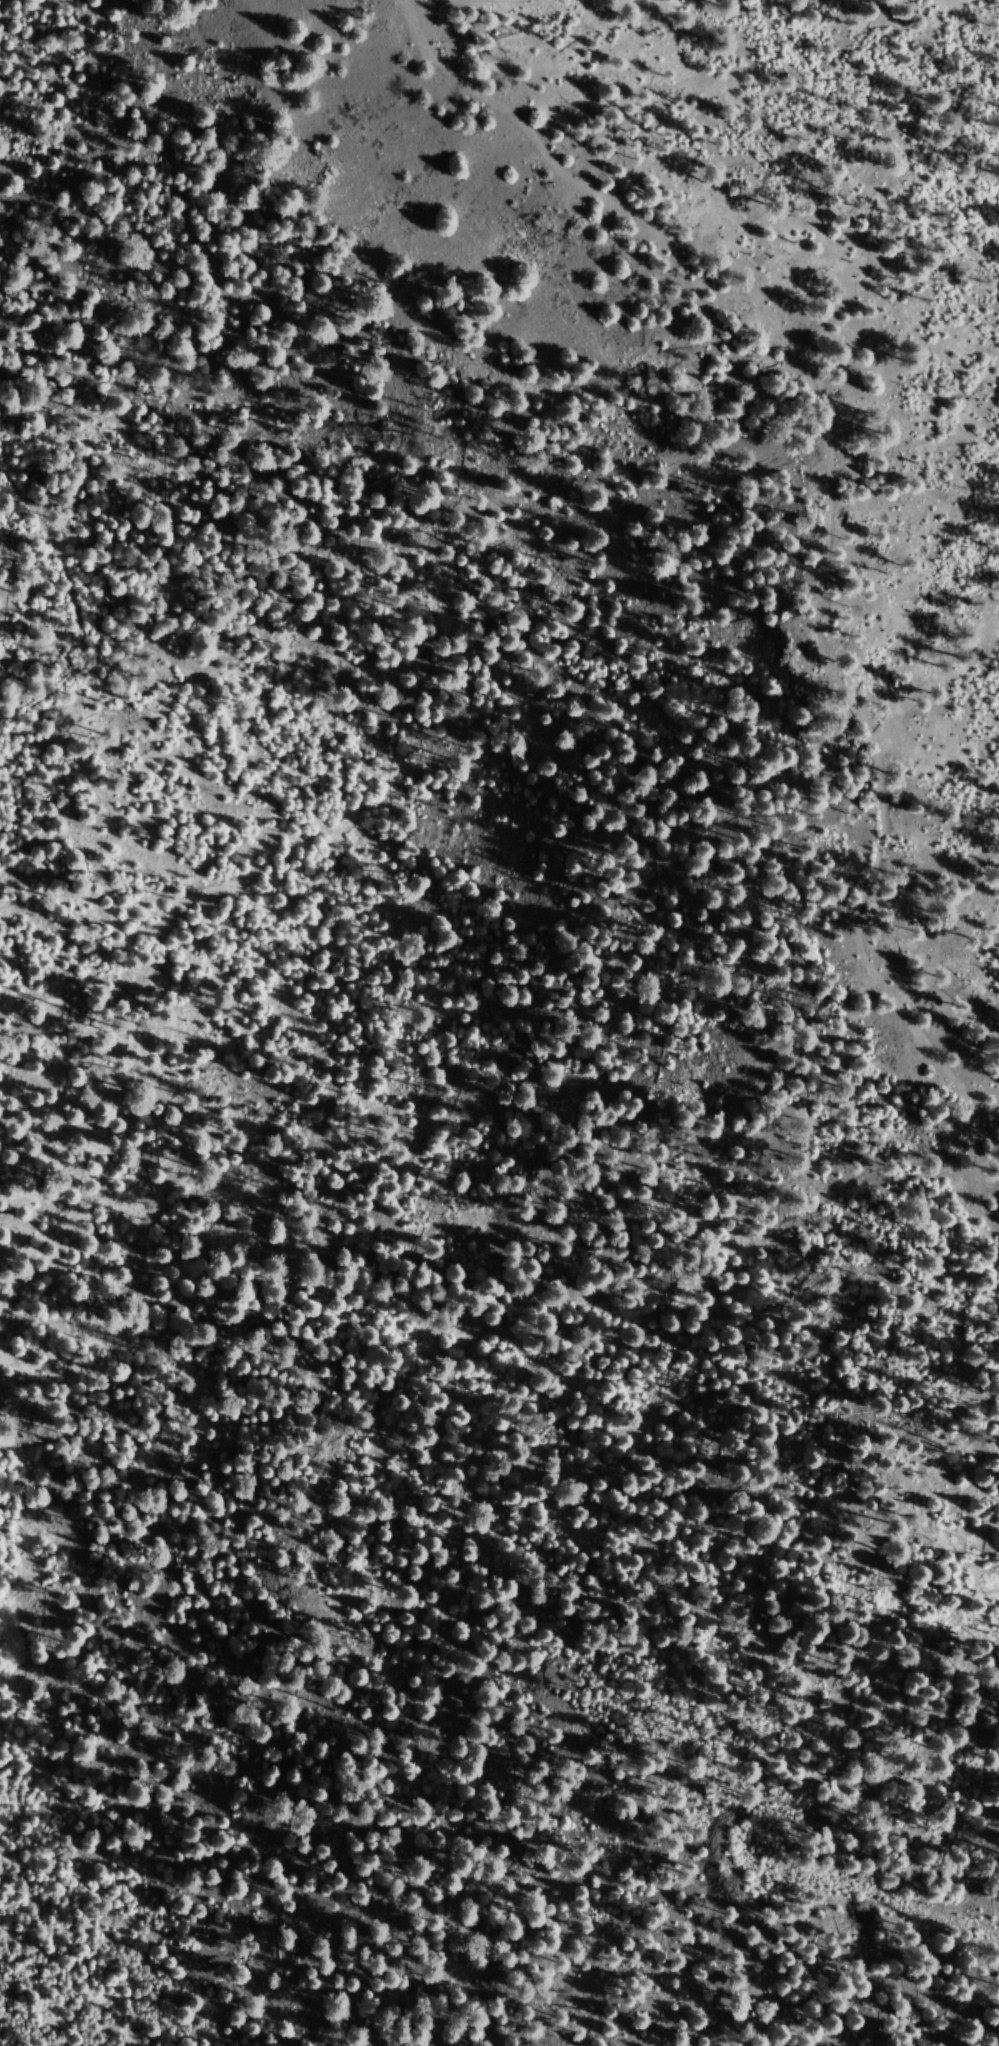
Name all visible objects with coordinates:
road: (823, 506)

